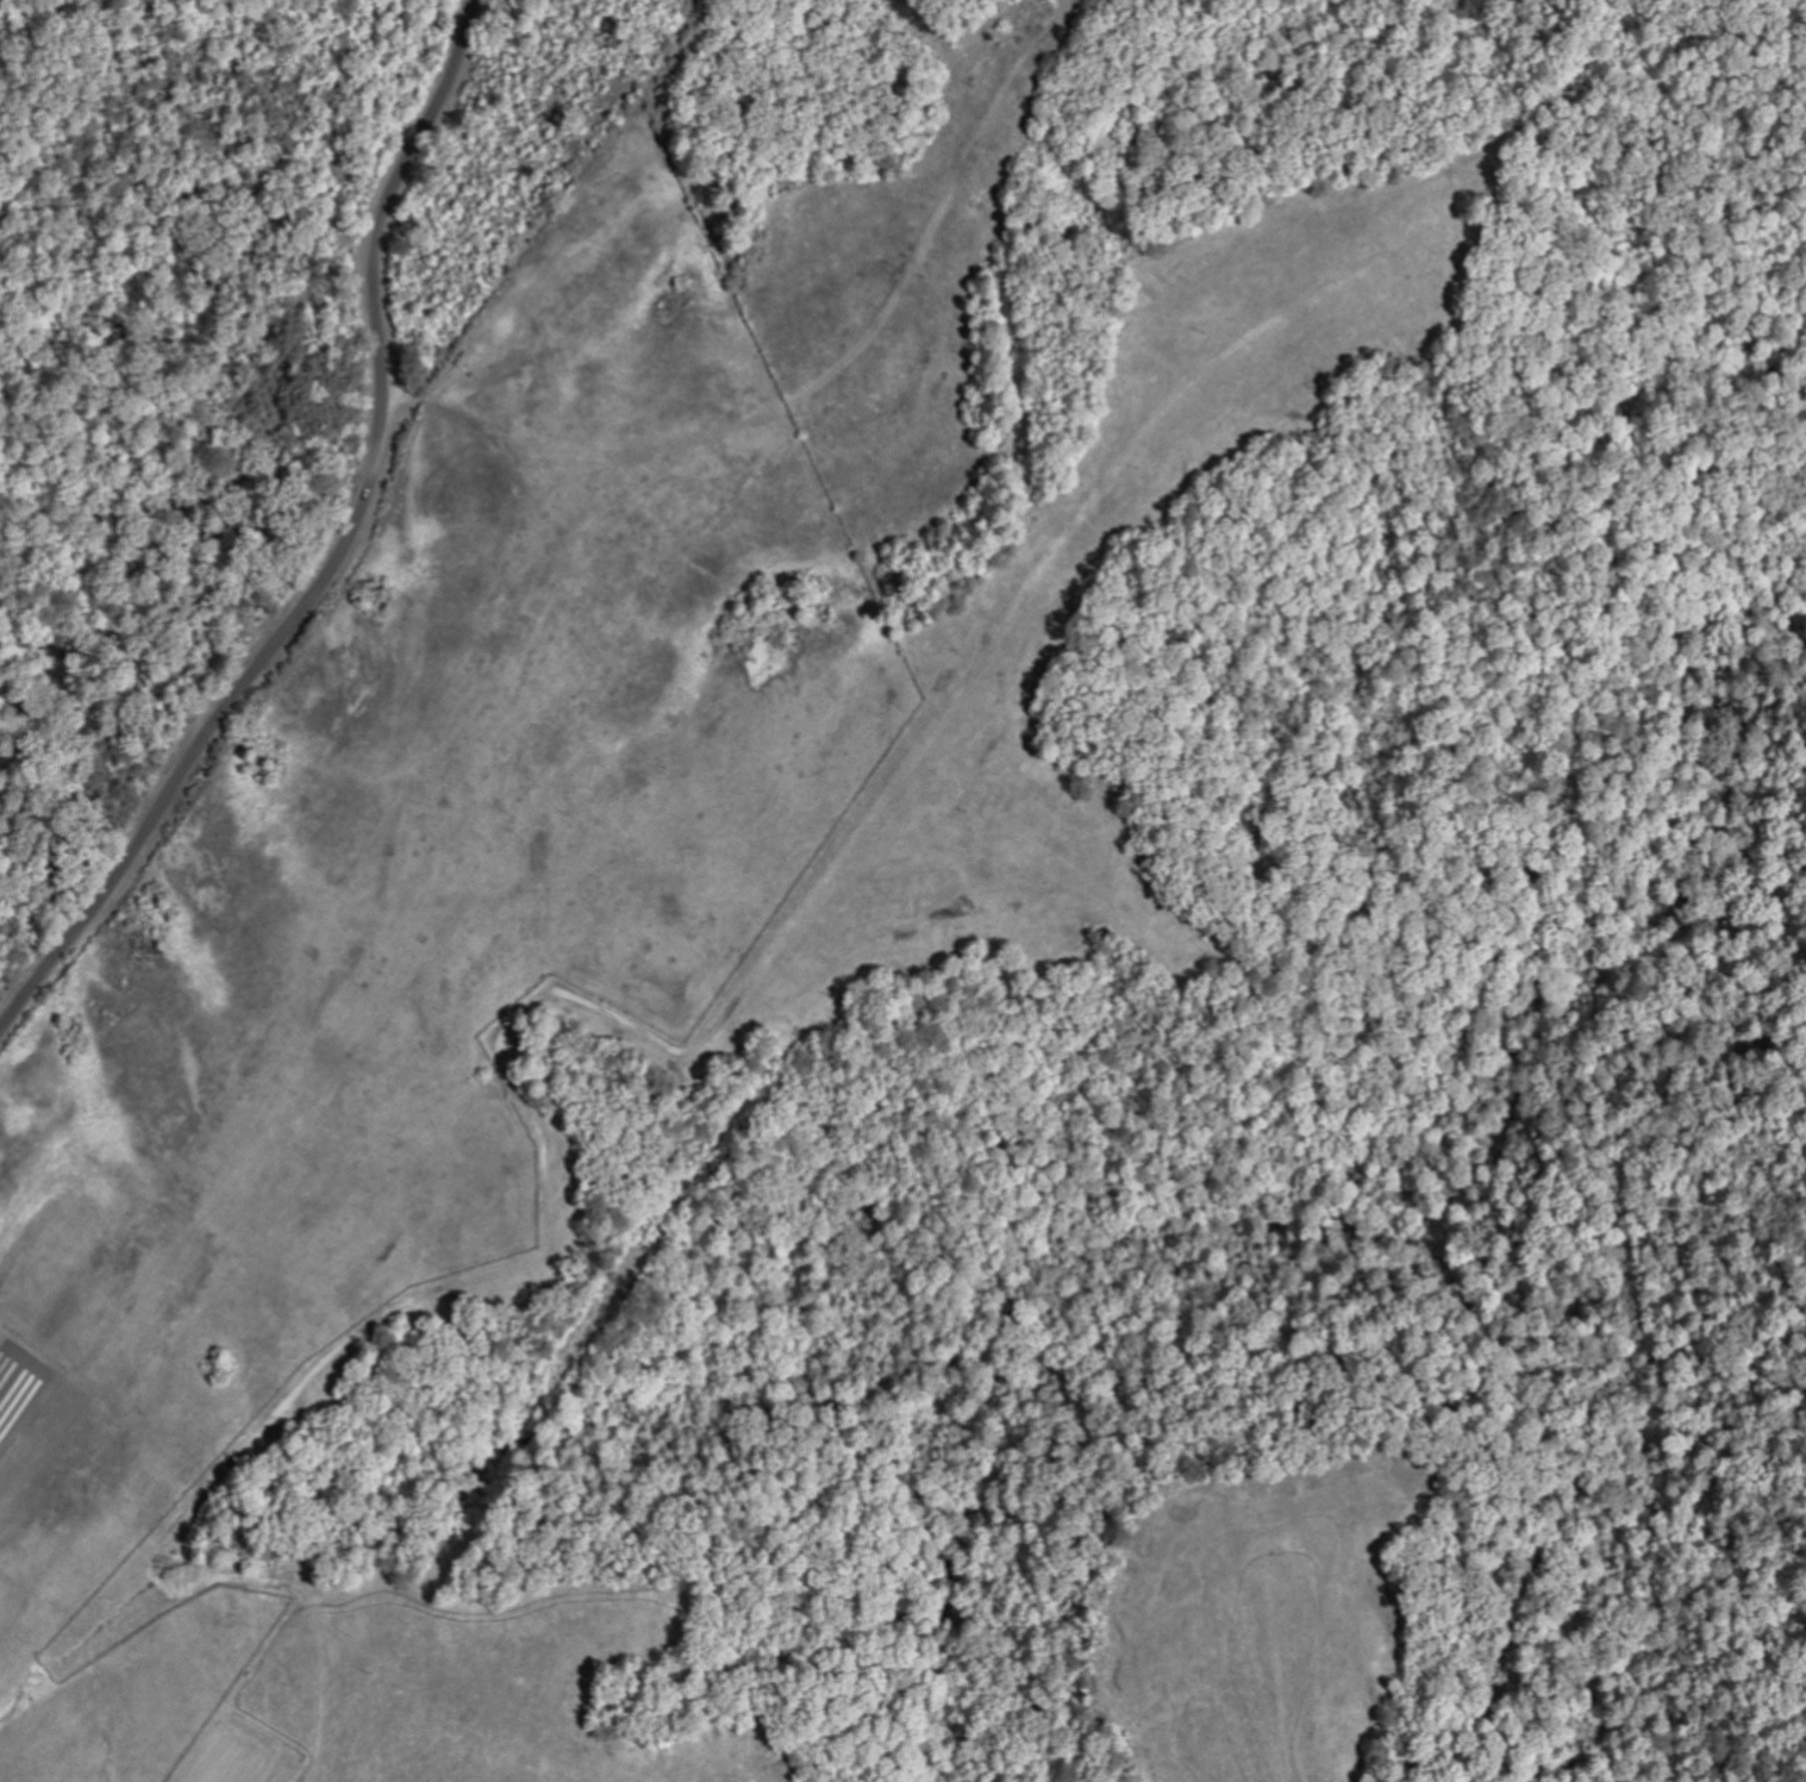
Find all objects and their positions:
road: (338, 554)
airport: (417, 915)
airport runway: (17, 1378)

